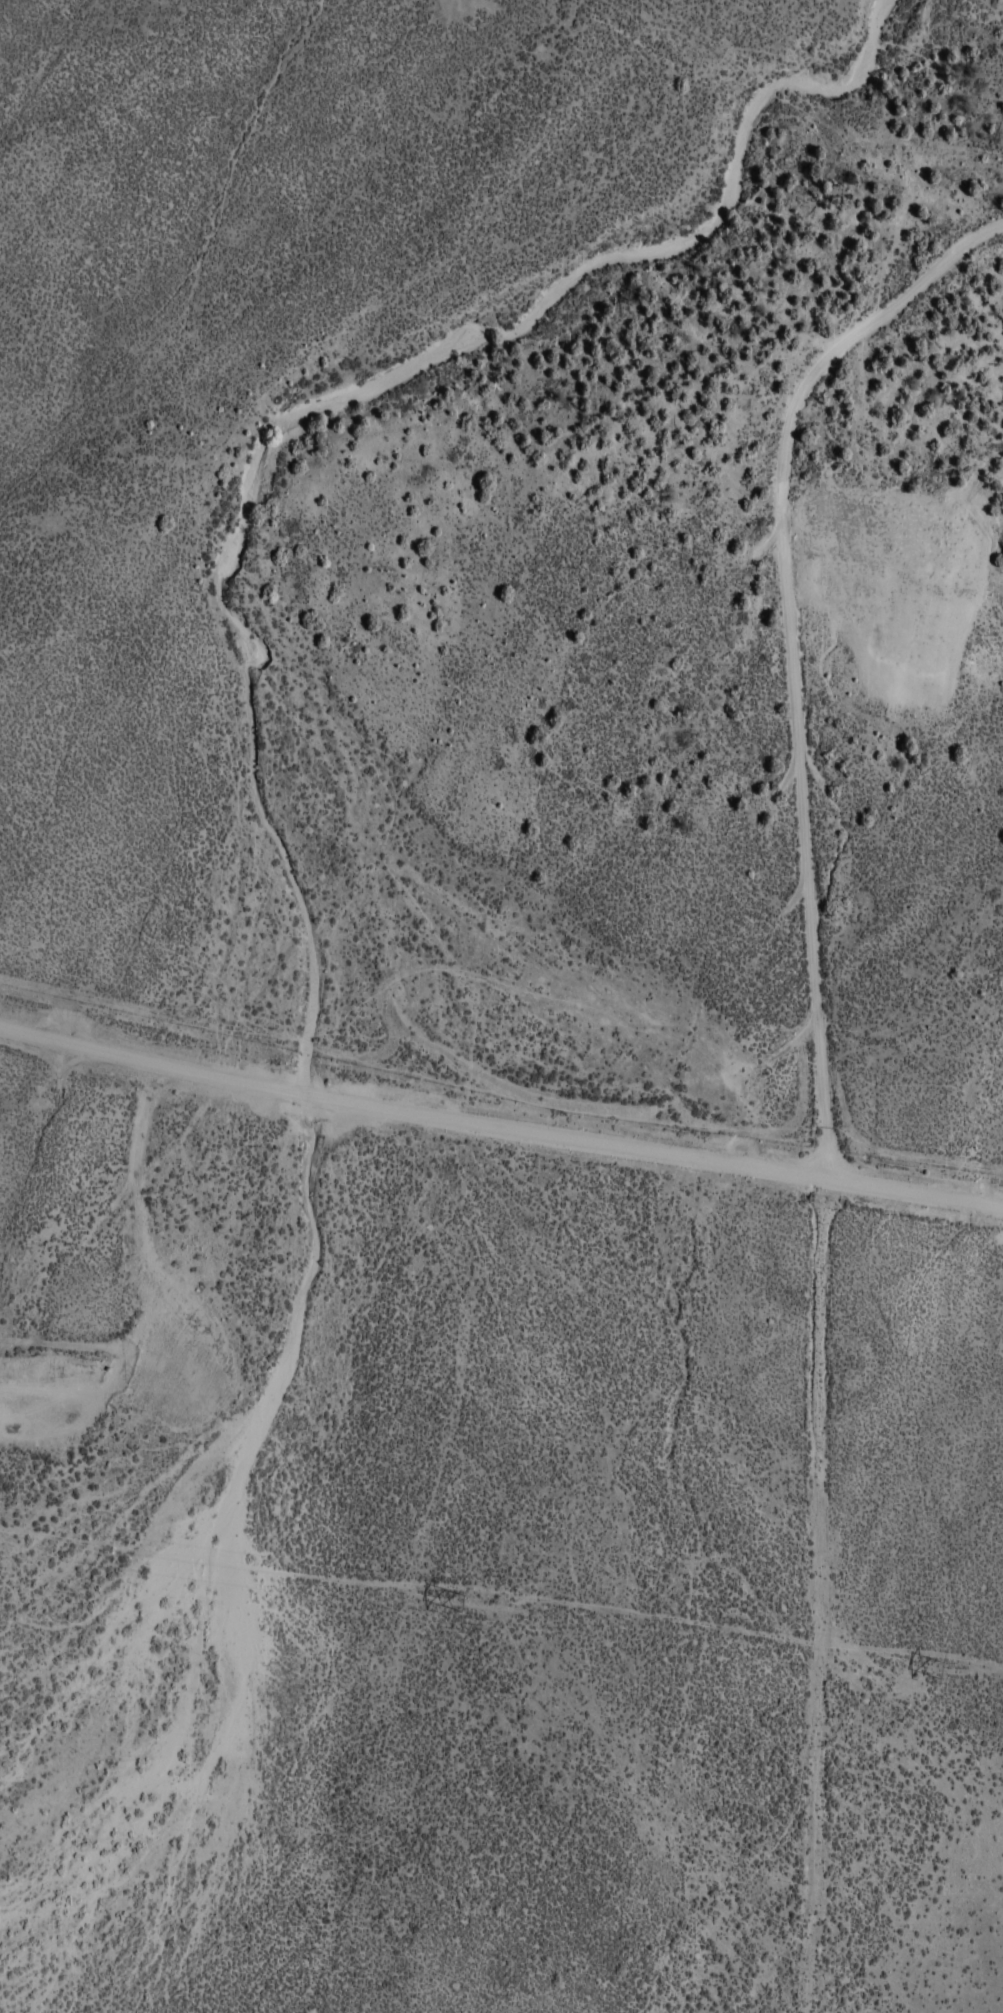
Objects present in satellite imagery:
road: (788, 664)
road: (500, 1123)
road: (85, 1359)
power tower: (466, 1603)
power tower: (945, 1668)

